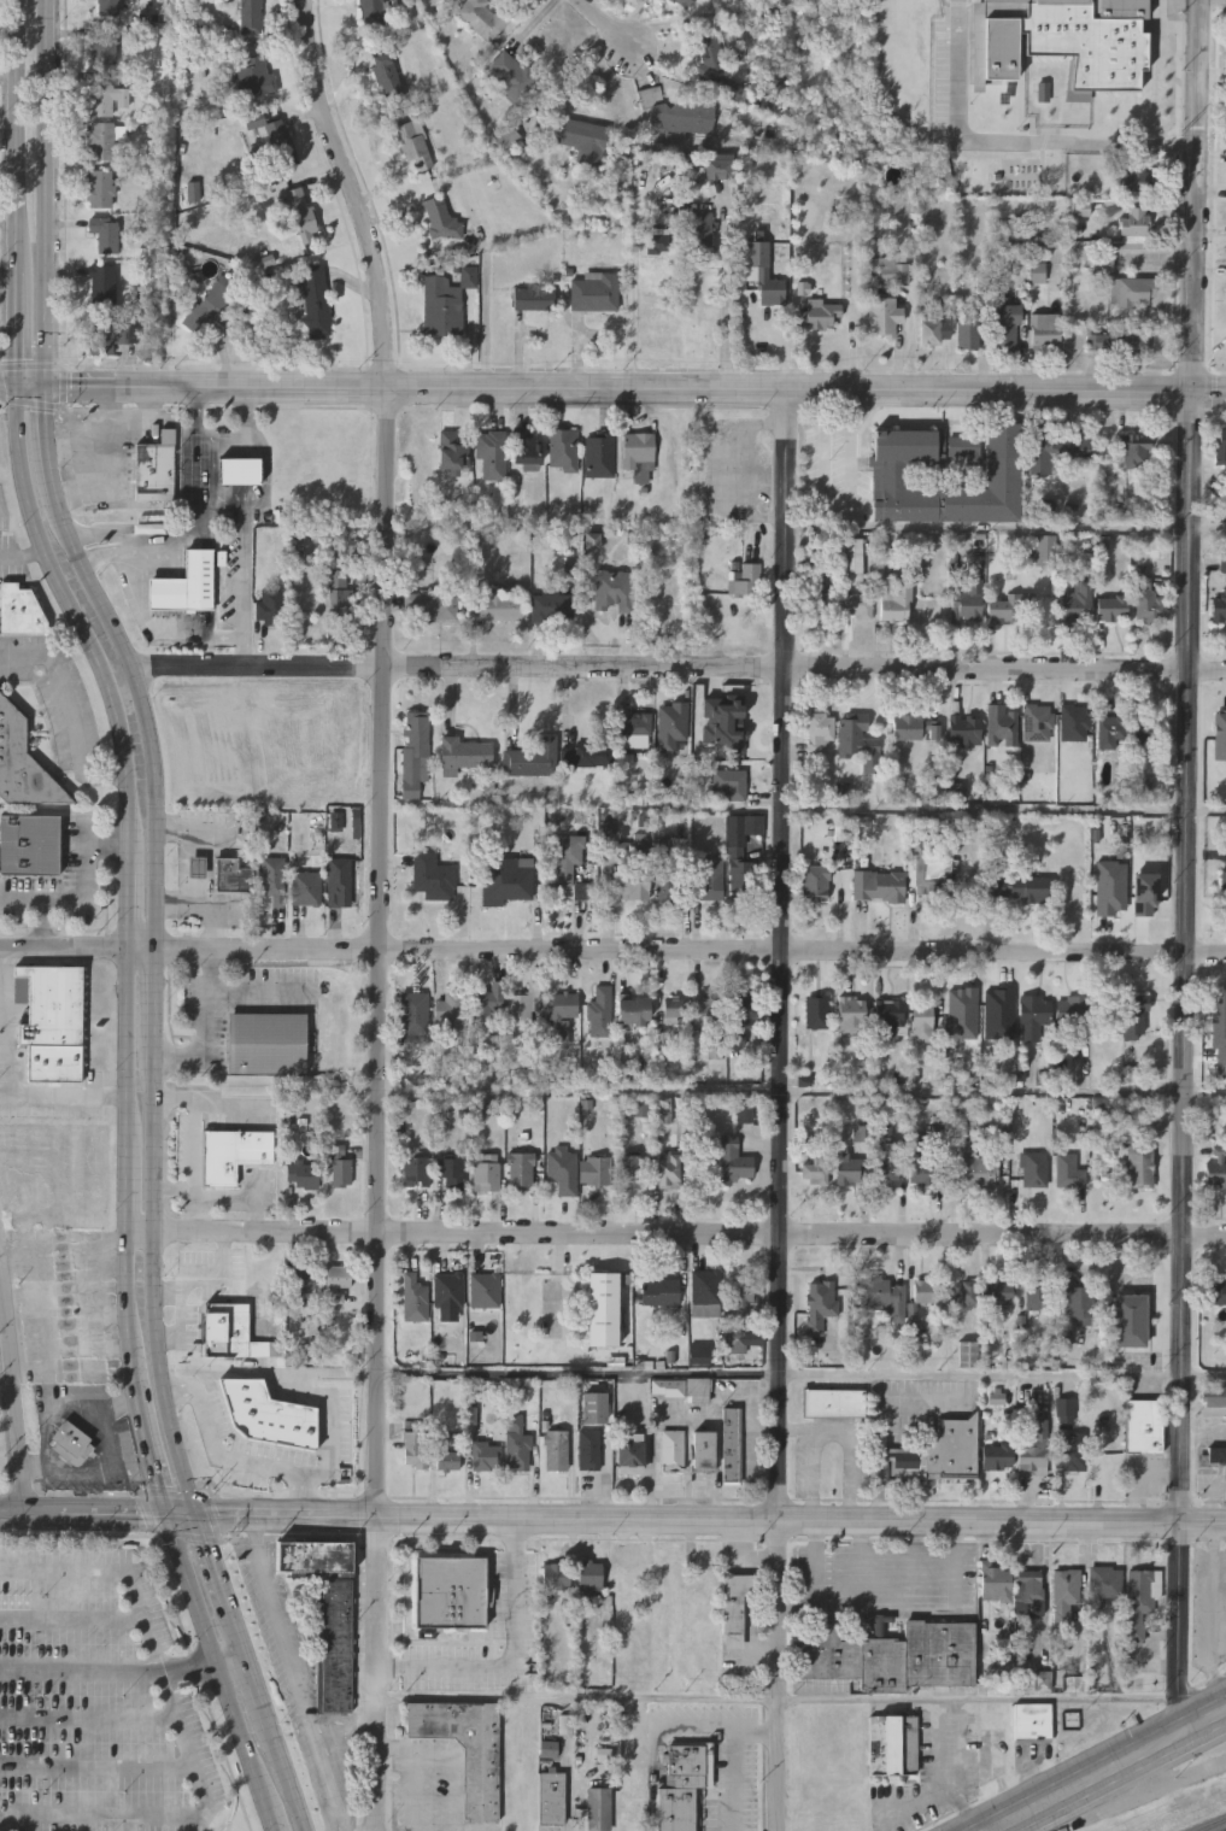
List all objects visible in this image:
building: (682, 4)
building: (107, 7)
building: (371, 12)
building: (250, 17)
building: (481, 18)
road: (614, 24)
building: (102, 45)
building: (711, 58)
building: (999, 60)
road: (567, 70)
building: (254, 76)
building: (510, 76)
building: (387, 81)
building: (107, 99)
building: (677, 116)
building: (505, 139)
building: (101, 140)
road: (1009, 140)
building: (581, 141)
building: (412, 146)
building: (277, 152)
building: (718, 169)
building: (1136, 176)
building: (101, 188)
road: (16, 192)
building: (298, 215)
building: (440, 221)
building: (1134, 222)
building: (698, 230)
building: (105, 234)
building: (658, 243)
building: (894, 274)
building: (763, 275)
building: (102, 287)
building: (594, 292)
building: (1132, 292)
building: (533, 299)
building: (316, 301)
building: (215, 305)
road: (630, 307)
building: (440, 309)
road: (487, 310)
road: (726, 312)
building: (884, 316)
building: (816, 317)
building: (1005, 328)
building: (935, 331)
building: (1045, 331)
building: (967, 335)
building: (107, 336)
building: (1116, 344)
road: (6, 385)
traffic signals: (13, 386)
traffic signals: (46, 387)
road: (618, 388)
road: (128, 422)
road: (104, 434)
road: (224, 442)
road: (852, 444)
building: (1221, 444)
building: (524, 445)
building: (562, 447)
building: (1077, 447)
building: (450, 448)
building: (963, 448)
building: (1133, 451)
building: (598, 453)
building: (488, 454)
building: (637, 456)
building: (1043, 458)
road: (101, 465)
building: (153, 468)
building: (236, 470)
road: (745, 471)
building: (888, 474)
road: (229, 505)
road: (1005, 528)
road: (129, 539)
road: (22, 554)
building: (853, 562)
building: (746, 577)
building: (184, 583)
road: (246, 587)
building: (611, 591)
building: (338, 595)
building: (817, 600)
building: (1149, 601)
building: (897, 603)
building: (964, 603)
building: (1077, 603)
building: (430, 604)
building: (551, 604)
building: (269, 606)
building: (493, 606)
building: (856, 606)
building: (1011, 608)
building: (1111, 608)
building: (1219, 609)
building: (18, 610)
road: (680, 669)
road: (71, 712)
building: (670, 724)
building: (743, 724)
building: (1002, 726)
building: (8, 727)
building: (635, 729)
building: (916, 729)
building: (1110, 730)
building: (963, 732)
building: (1149, 732)
building: (820, 733)
building: (1216, 734)
building: (857, 746)
road: (152, 751)
building: (412, 753)
building: (462, 753)
building: (586, 755)
building: (529, 759)
building: (729, 785)
road: (1003, 814)
building: (29, 845)
building: (564, 857)
road: (1185, 868)
road: (127, 869)
building: (229, 875)
building: (430, 876)
building: (934, 878)
building: (271, 879)
building: (336, 879)
building: (501, 880)
building: (630, 880)
building: (740, 880)
building: (665, 882)
building: (815, 882)
building: (705, 885)
building: (305, 887)
building: (878, 887)
building: (1017, 887)
building: (580, 891)
building: (1128, 891)
building: (1224, 891)
road: (87, 898)
road: (376, 909)
road: (612, 953)
road: (258, 991)
building: (485, 1007)
building: (559, 1007)
building: (520, 1009)
building: (674, 1010)
building: (743, 1010)
building: (602, 1011)
building: (633, 1011)
building: (706, 1011)
building: (817, 1011)
building: (1221, 1011)
building: (413, 1013)
building: (451, 1014)
building: (852, 1015)
building: (890, 1015)
building: (1034, 1015)
building: (996, 1016)
building: (1072, 1017)
building: (1133, 1019)
building: (49, 1020)
building: (922, 1022)
road: (8, 1025)
road: (204, 1026)
building: (559, 1034)
building: (265, 1044)
road: (1004, 1095)
road: (63, 1097)
road: (177, 1101)
road: (233, 1103)
road: (782, 1109)
building: (233, 1154)
building: (734, 1163)
building: (890, 1163)
building: (1073, 1163)
road: (198, 1166)
building: (339, 1166)
building: (1140, 1166)
building: (520, 1168)
building: (1034, 1168)
building: (416, 1170)
building: (452, 1170)
building: (593, 1170)
building: (669, 1170)
building: (816, 1170)
building: (851, 1170)
building: (925, 1172)
building: (974, 1172)
building: (1215, 1173)
building: (486, 1175)
building: (301, 1176)
building: (629, 1176)
road: (176, 1191)
road: (676, 1236)
building: (265, 1278)
road: (186, 1280)
building: (301, 1280)
building: (335, 1281)
building: (705, 1287)
building: (447, 1289)
building: (999, 1289)
building: (485, 1290)
building: (659, 1291)
building: (927, 1291)
road: (169, 1292)
building: (966, 1292)
building: (1218, 1293)
building: (879, 1295)
building: (741, 1297)
building: (1037, 1297)
building: (413, 1298)
building: (1079, 1302)
building: (820, 1304)
building: (65, 1307)
building: (603, 1308)
road: (47, 1311)
building: (1130, 1320)
building: (230, 1331)
building: (968, 1354)
road: (735, 1377)
road: (12, 1393)
building: (1214, 1397)
road: (43, 1401)
building: (833, 1403)
building: (593, 1407)
road: (884, 1419)
road: (327, 1422)
road: (1204, 1426)
building: (1145, 1427)
road: (794, 1428)
road: (111, 1433)
building: (516, 1444)
building: (732, 1444)
building: (71, 1445)
building: (413, 1445)
road: (151, 1446)
building: (1034, 1448)
building: (588, 1450)
building: (673, 1450)
building: (703, 1450)
building: (630, 1451)
building: (556, 1454)
building: (1072, 1454)
building: (938, 1455)
building: (486, 1456)
building: (998, 1456)
road: (234, 1459)
road: (850, 1460)
building: (1215, 1460)
building: (447, 1461)
road: (80, 1472)
road: (809, 1477)
road: (83, 1516)
traffic signals: (169, 1518)
road: (184, 1518)
traffic signals: (200, 1518)
road: (712, 1524)
road: (216, 1561)
building: (556, 1575)
building: (591, 1579)
building: (1107, 1581)
building: (451, 1592)
building: (1031, 1596)
building: (1066, 1596)
building: (1142, 1601)
building: (735, 1607)
building: (328, 1613)
building: (999, 1616)
road: (71, 1621)
road: (242, 1631)
building: (892, 1656)
road: (514, 1660)
road: (127, 1672)
road: (224, 1673)
road: (297, 1676)
road: (265, 1694)
road: (577, 1700)
road: (980, 1701)
parking lot: (94, 1702)
road: (88, 1719)
building: (1033, 1721)
road: (698, 1725)
road: (346, 1729)
road: (181, 1732)
building: (893, 1745)
building: (467, 1750)
road: (451, 1755)
road: (739, 1761)
road: (98, 1770)
road: (1110, 1772)
road: (653, 1778)
road: (294, 1779)
building: (684, 1786)
road: (1166, 1786)
road: (416, 1792)
building: (552, 1798)
building: (599, 1809)
railway: (1215, 1826)

